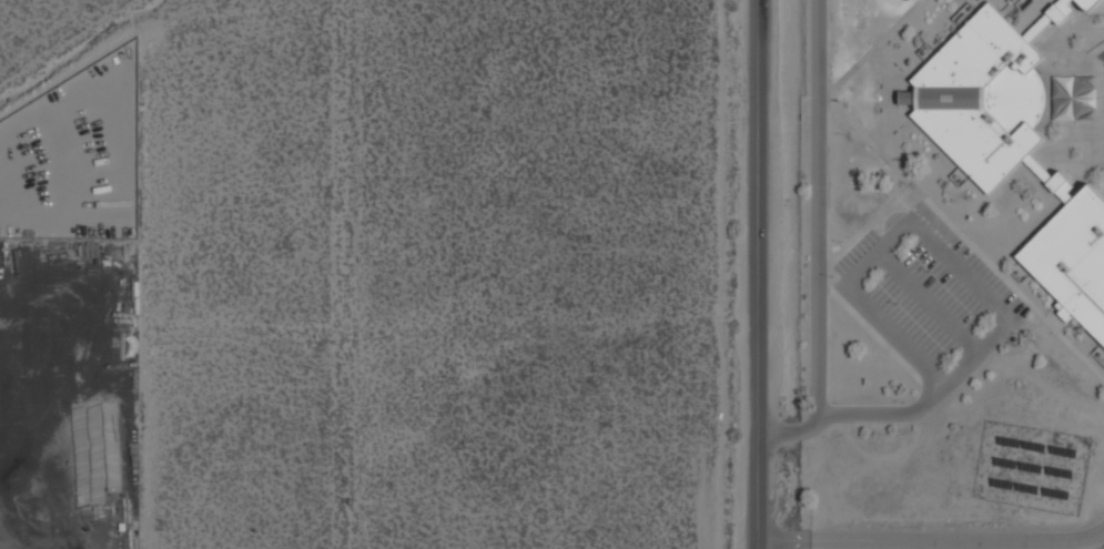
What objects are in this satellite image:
building: (1088, 4)
road: (1100, 8)
building: (1061, 11)
road: (1064, 44)
road: (874, 45)
building: (1087, 80)
building: (1065, 83)
building: (1080, 88)
building: (1057, 91)
building: (1086, 94)
road: (884, 96)
street lamp: (878, 98)
building: (907, 98)
building: (983, 98)
road: (899, 99)
building: (1086, 101)
street lamp: (837, 102)
building: (1057, 105)
building: (1078, 109)
building: (1065, 112)
building: (1086, 115)
road: (1098, 139)
building: (1036, 167)
building: (1055, 181)
building: (1065, 193)
road: (827, 200)
road: (965, 240)
road: (818, 241)
building: (1073, 258)
road: (960, 270)
road: (761, 274)
parking lot: (928, 296)
road: (926, 302)
building: (1063, 312)
road: (873, 334)
road: (926, 388)
road: (827, 407)
solar farm: (1031, 468)
road: (934, 541)

